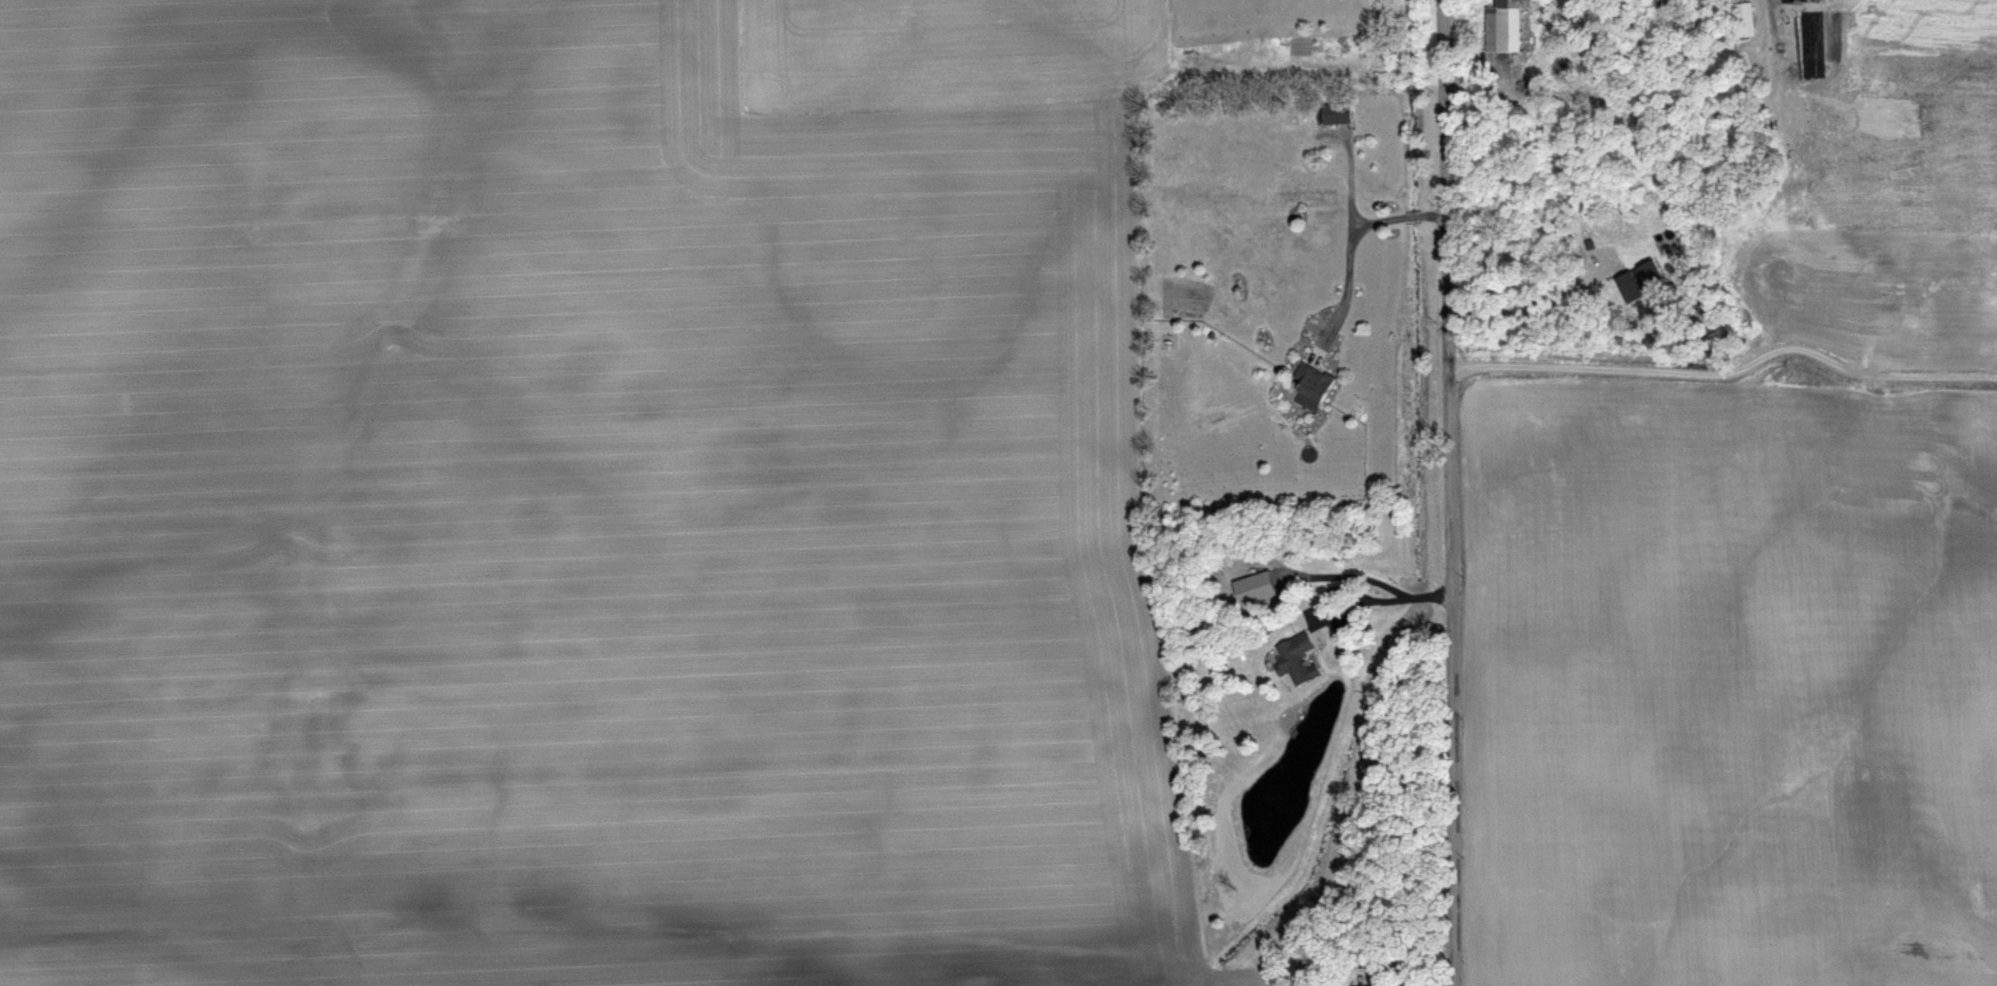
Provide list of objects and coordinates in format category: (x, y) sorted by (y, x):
building: (1742, 19)
building: (1496, 32)
road: (1655, 105)
building: (1333, 112)
road: (1359, 220)
road: (1349, 279)
building: (1637, 281)
road: (1533, 300)
road: (1728, 371)
building: (1311, 382)
road: (1448, 493)
building: (1252, 587)
road: (1352, 591)
building: (1293, 659)

